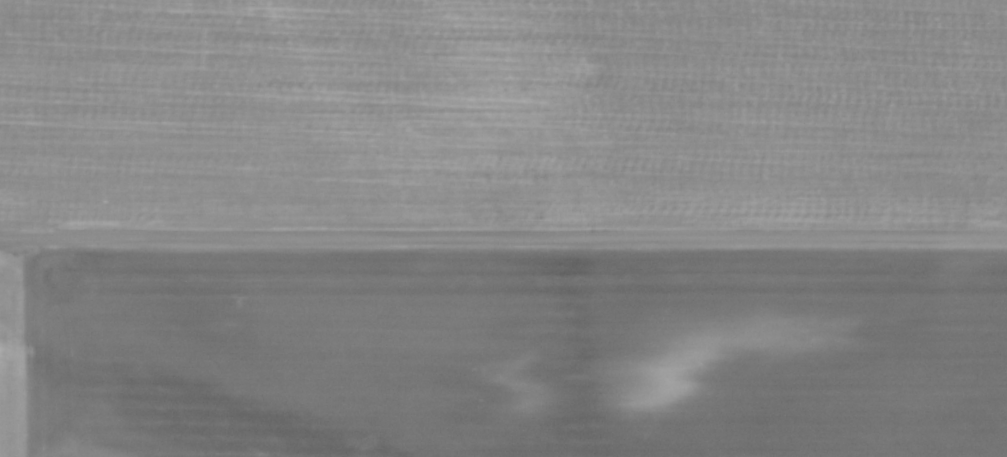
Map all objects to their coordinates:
crop: (503, 111)
road: (503, 237)
crop: (503, 354)

